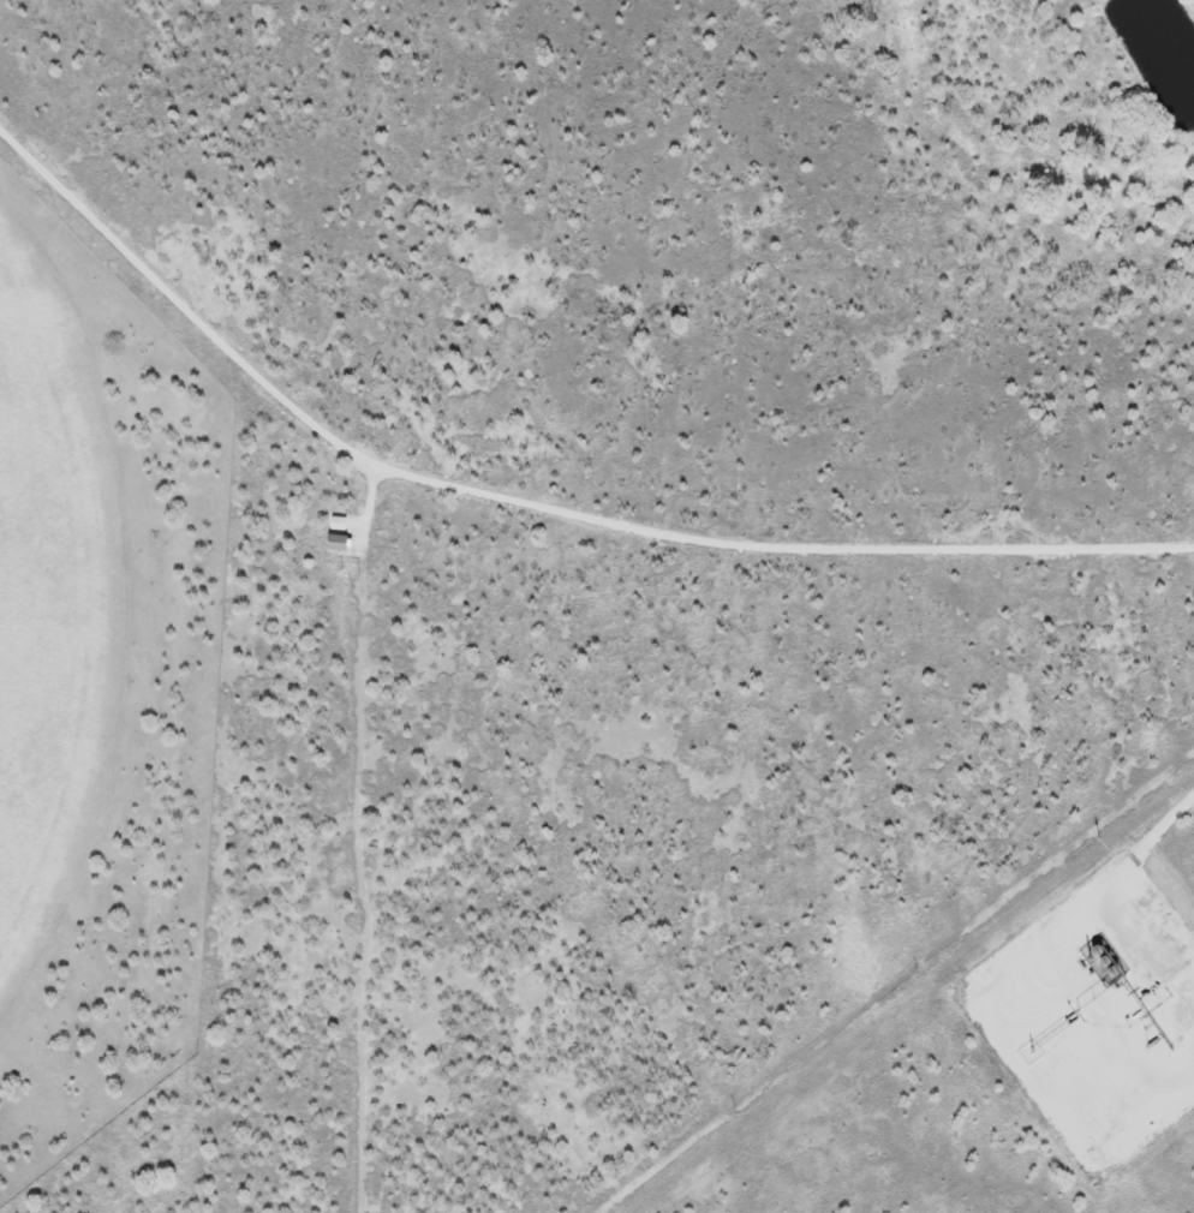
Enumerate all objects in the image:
road: (532, 509)
road: (1043, 928)

